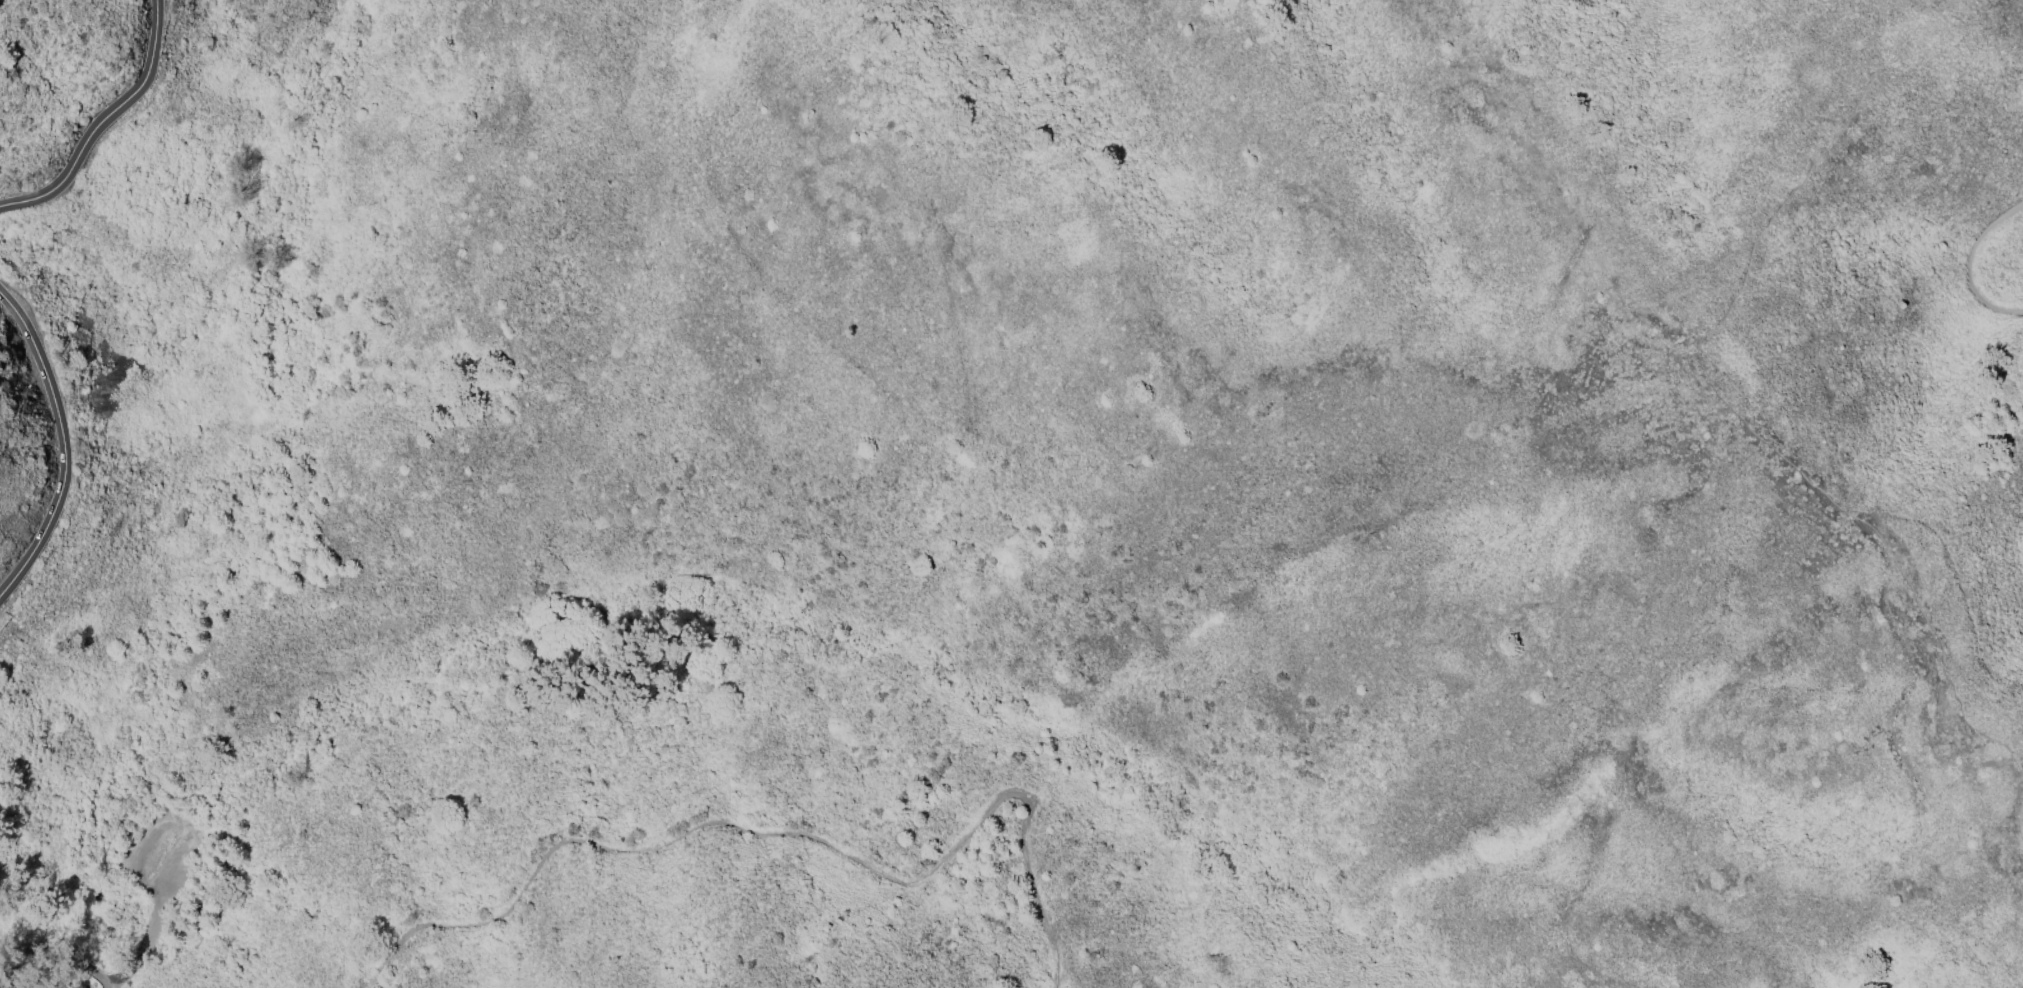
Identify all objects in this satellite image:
road: (103, 122)
road: (1970, 263)
road: (1744, 421)
road: (69, 445)
road: (784, 839)
parking lot: (169, 858)
road: (145, 947)
road: (54, 965)
road: (37, 976)

